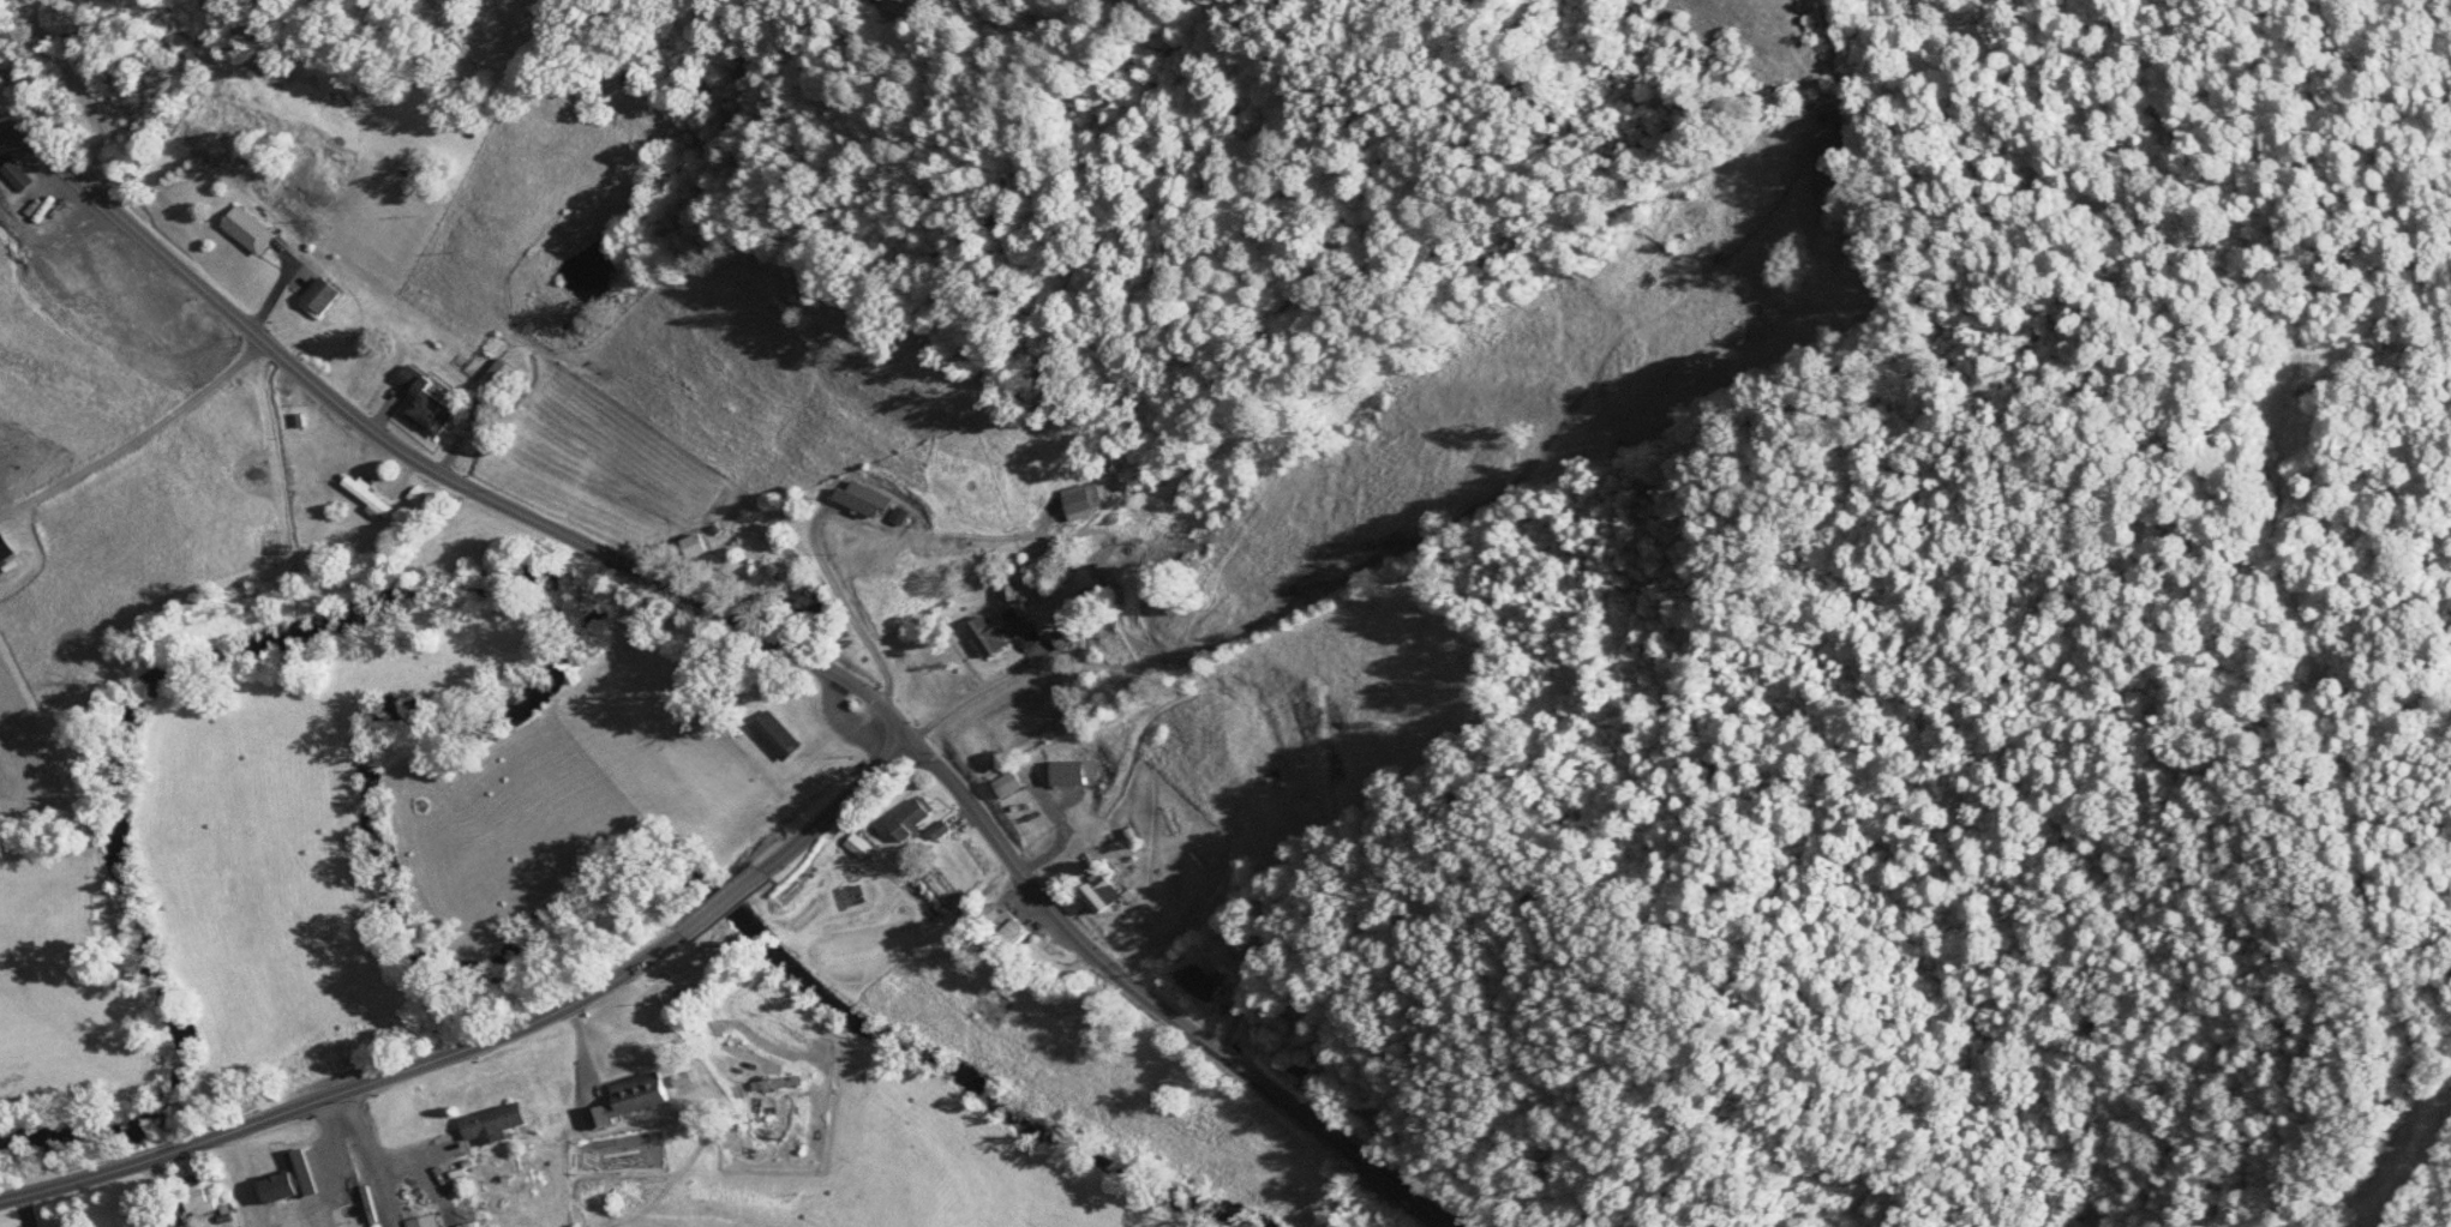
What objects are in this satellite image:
building: (19, 175)
building: (252, 231)
building: (325, 296)
building: (427, 403)
road: (138, 438)
road: (430, 468)
building: (367, 495)
building: (418, 498)
building: (867, 500)
building: (1087, 504)
building: (697, 546)
building: (8, 547)
building: (1084, 601)
building: (813, 609)
building: (999, 632)
river: (442, 721)
building: (778, 735)
road: (839, 806)
building: (916, 820)
building: (1050, 840)
building: (1102, 894)
road: (725, 903)
building: (1018, 930)
building: (1200, 984)
road: (1161, 1009)
building: (1301, 1067)
building: (777, 1085)
road: (350, 1088)
building: (627, 1100)
building: (495, 1124)
building: (371, 1189)
building: (198, 1202)
building: (282, 1220)
building: (425, 1222)

